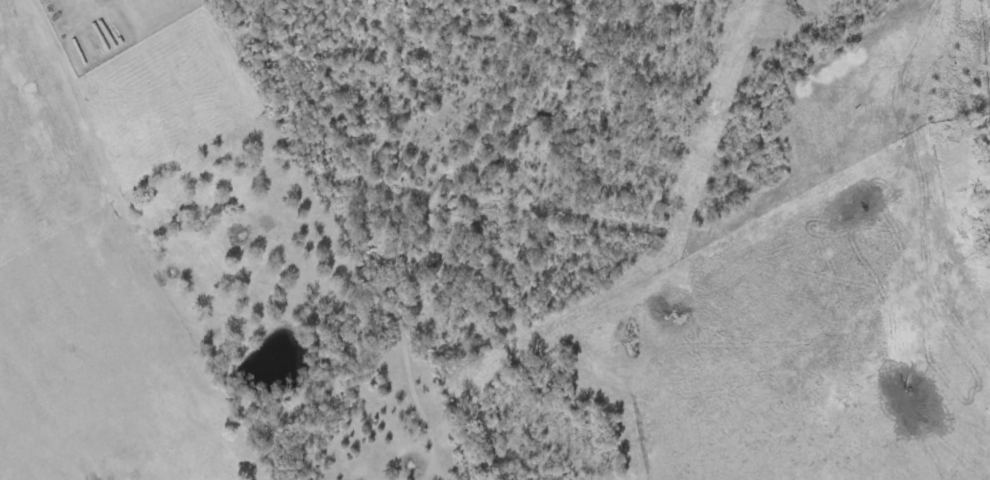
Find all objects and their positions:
road: (291, 288)
road: (72, 358)

